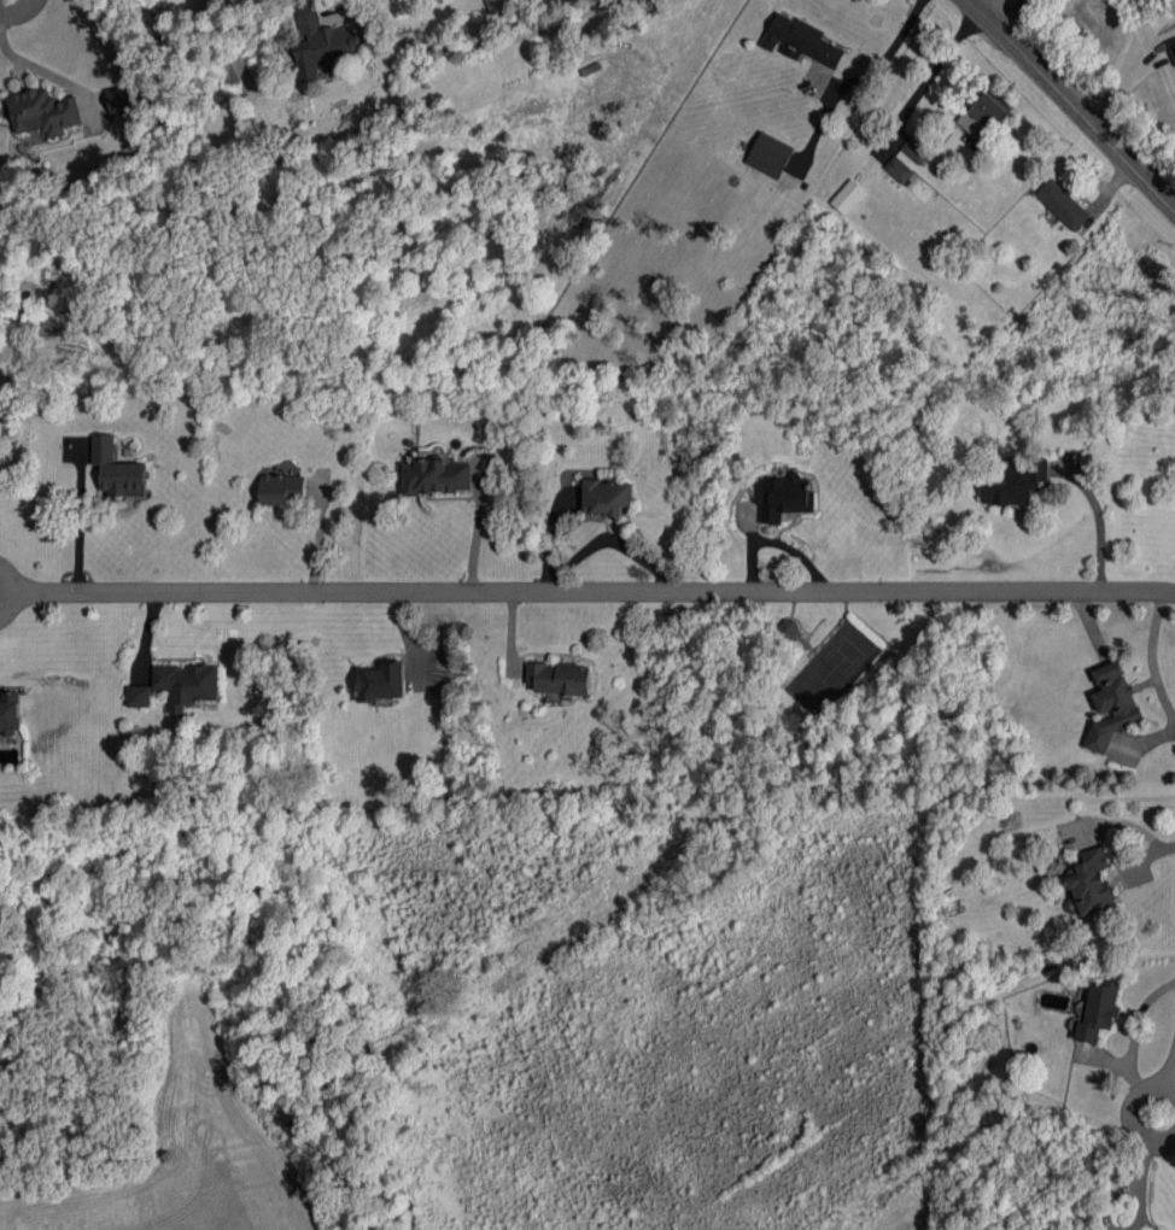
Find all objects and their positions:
road: (977, 4)
road: (17, 11)
road: (1009, 16)
road: (498, 40)
building: (801, 41)
building: (320, 42)
road: (896, 42)
building: (1173, 43)
building: (238, 64)
building: (119, 101)
road: (1071, 106)
building: (43, 112)
building: (983, 115)
building: (916, 150)
building: (770, 154)
building: (899, 169)
building: (847, 195)
building: (1063, 204)
building: (0, 430)
building: (116, 469)
building: (435, 476)
building: (1012, 482)
building: (281, 488)
building: (606, 496)
building: (782, 497)
road: (87, 520)
road: (470, 532)
road: (25, 588)
road: (601, 590)
building: (789, 628)
building: (559, 678)
building: (380, 681)
building: (187, 684)
building: (139, 696)
building: (1112, 705)
building: (10, 711)
building: (1091, 881)
building: (1099, 1011)
road: (1135, 1114)

